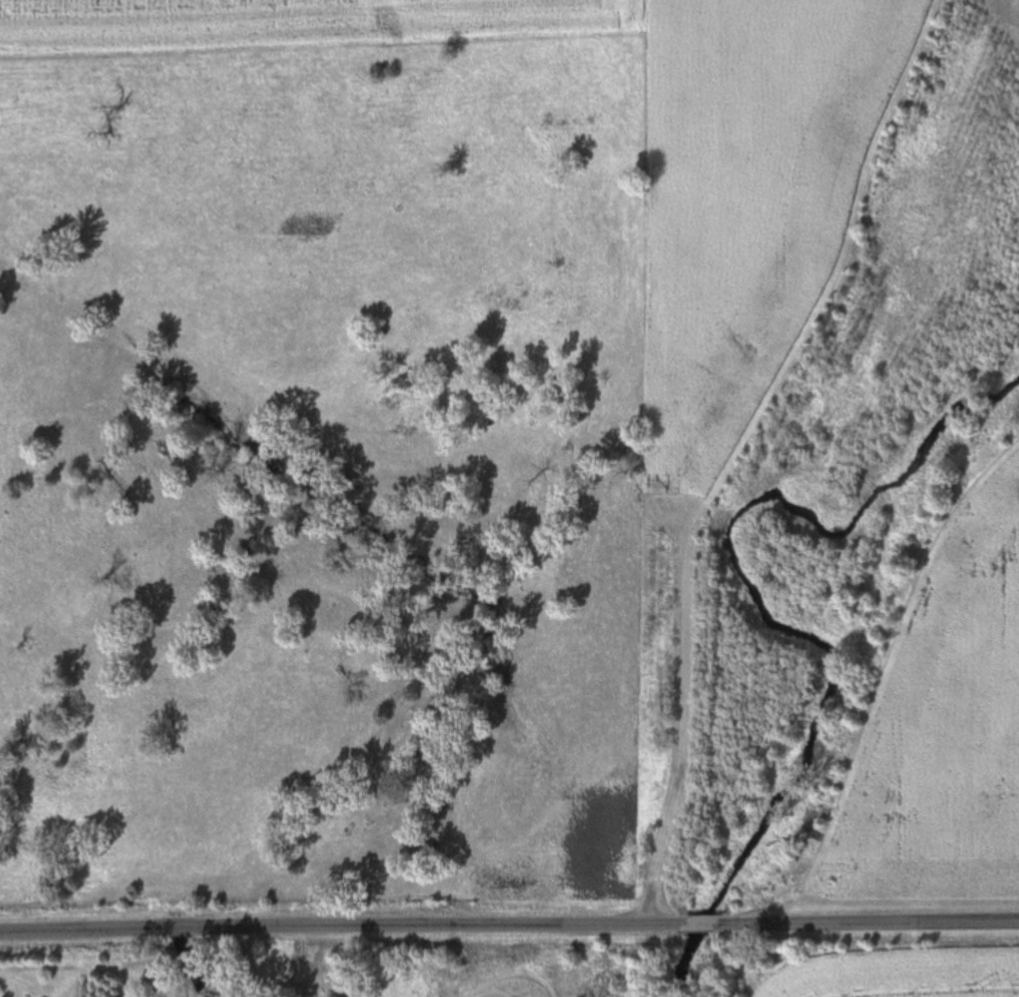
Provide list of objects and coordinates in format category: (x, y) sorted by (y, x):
road: (509, 926)
road: (186, 963)

